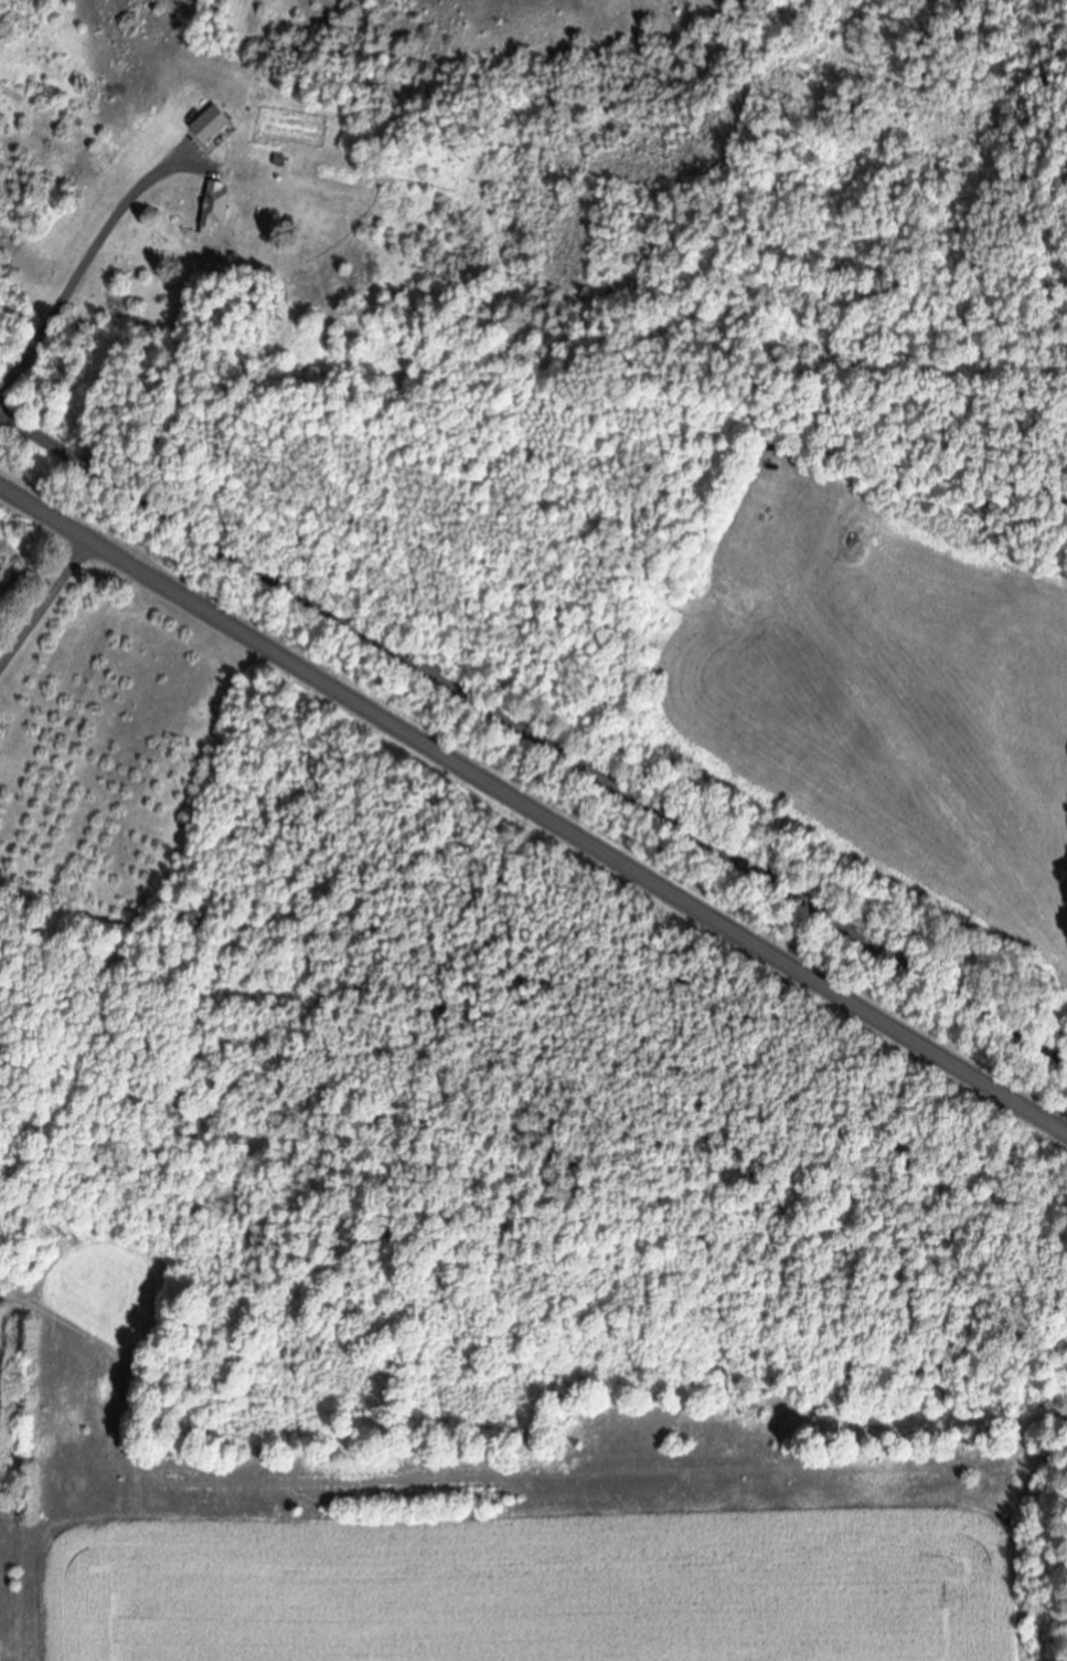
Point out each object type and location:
building: (215, 127)
building: (221, 205)
road: (95, 261)
road: (533, 737)
road: (533, 806)

